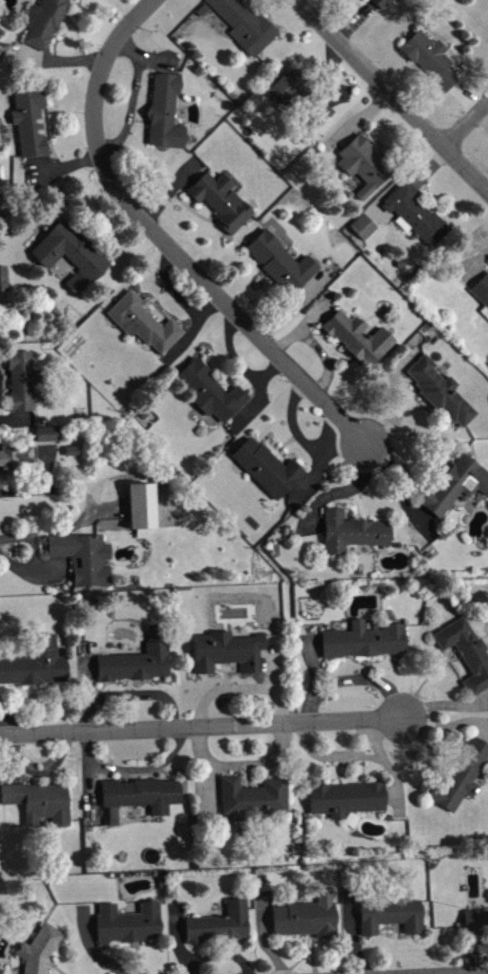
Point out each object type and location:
building: (383, 5)
building: (246, 27)
building: (46, 34)
building: (432, 64)
road: (392, 94)
building: (304, 103)
building: (168, 117)
building: (32, 124)
road: (468, 128)
building: (366, 170)
building: (224, 205)
building: (418, 218)
building: (366, 231)
road: (166, 242)
building: (72, 260)
building: (284, 267)
building: (4, 283)
building: (482, 296)
building: (146, 328)
building: (360, 342)
building: (23, 385)
building: (213, 396)
building: (442, 396)
building: (49, 438)
building: (73, 455)
building: (14, 461)
building: (269, 473)
building: (457, 489)
building: (143, 512)
building: (354, 537)
road: (39, 561)
building: (86, 562)
building: (366, 645)
building: (229, 656)
building: (467, 656)
building: (140, 665)
building: (37, 669)
road: (202, 728)
building: (463, 781)
building: (143, 801)
building: (254, 802)
building: (347, 803)
building: (41, 808)
building: (392, 920)
building: (308, 922)
building: (476, 927)
building: (131, 928)
building: (222, 929)
building: (41, 953)

